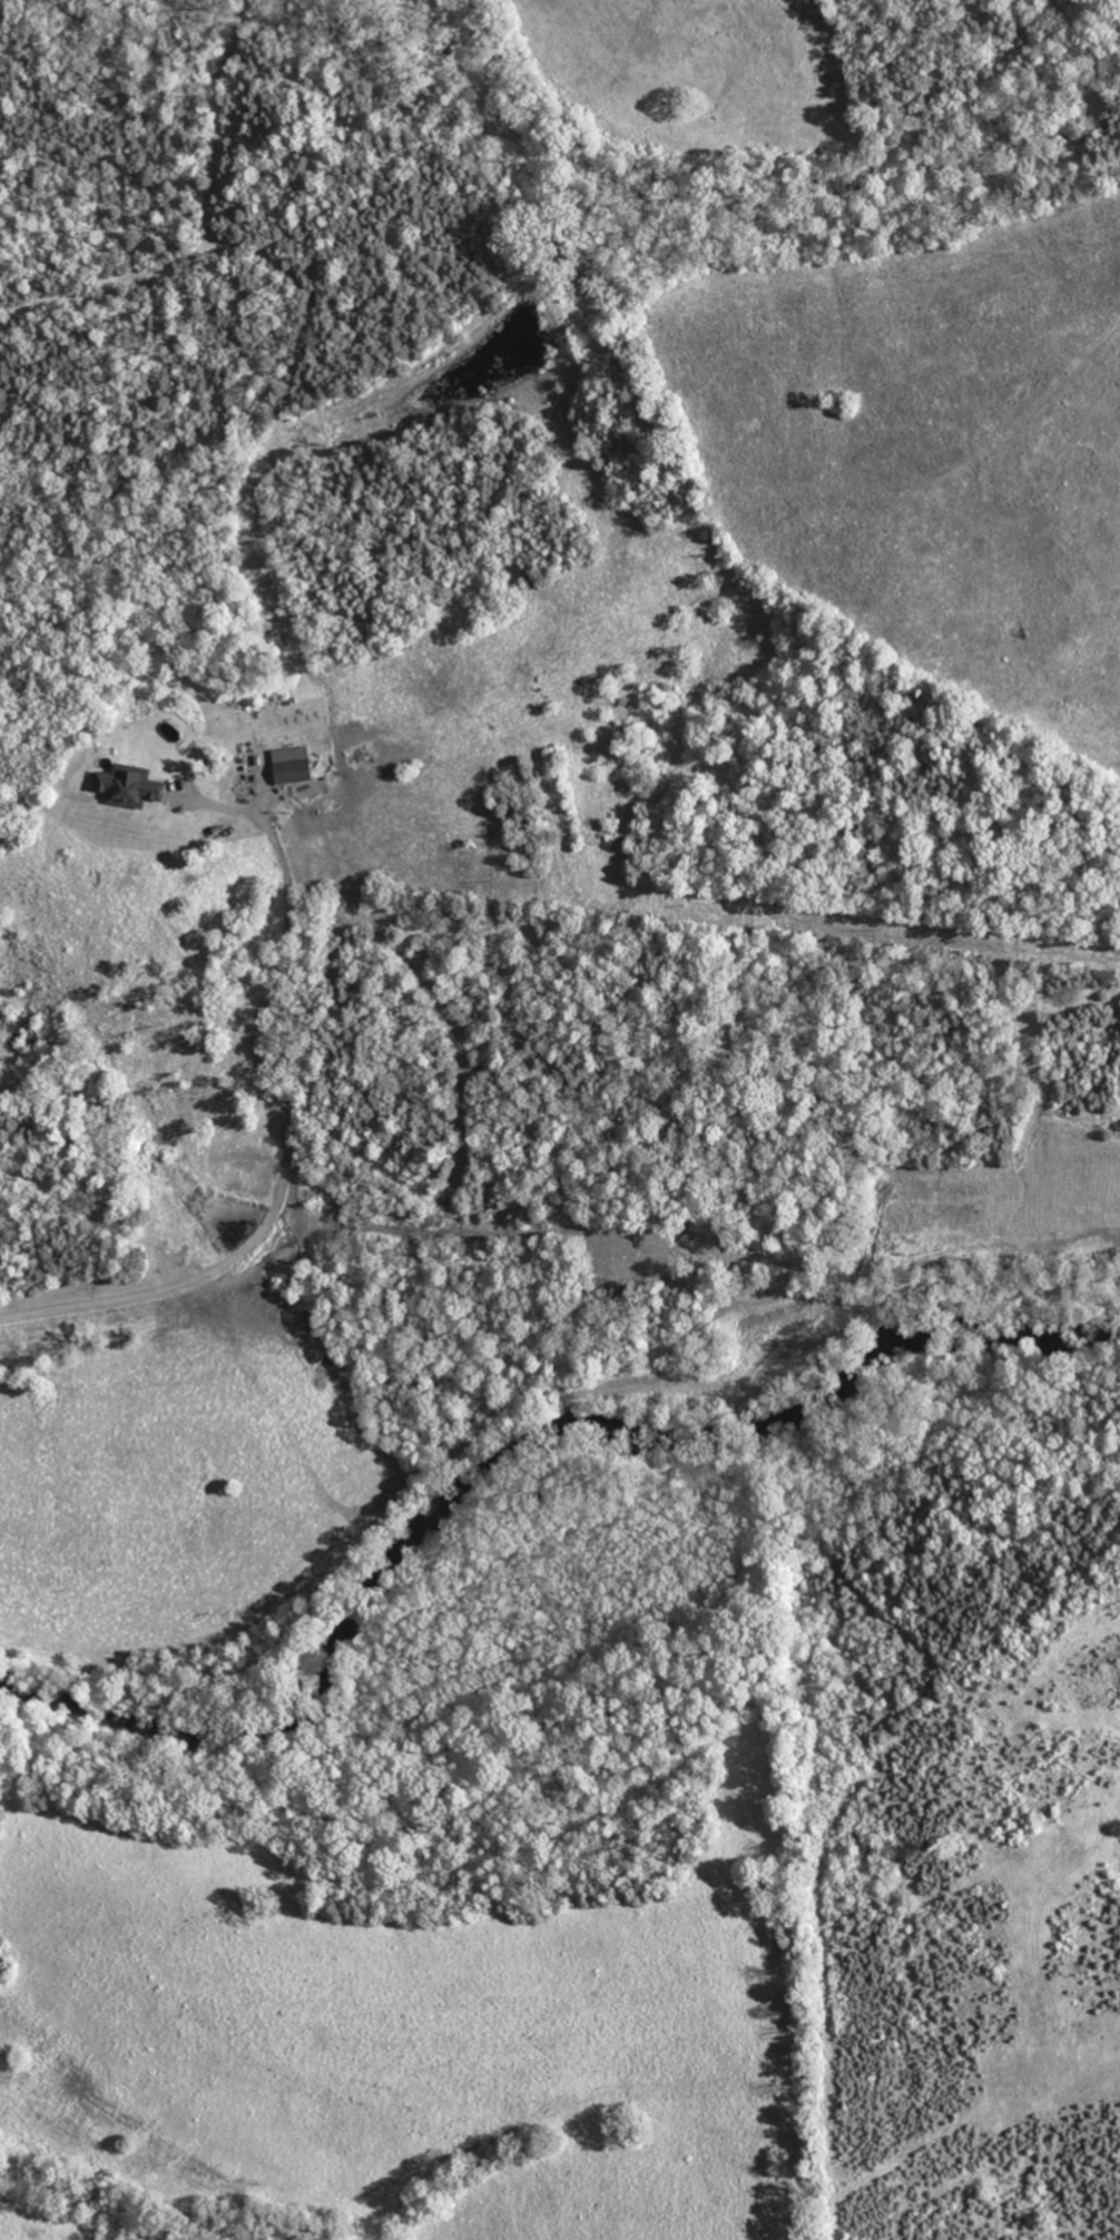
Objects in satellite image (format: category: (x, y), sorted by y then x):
building: (291, 764)
building: (128, 785)

